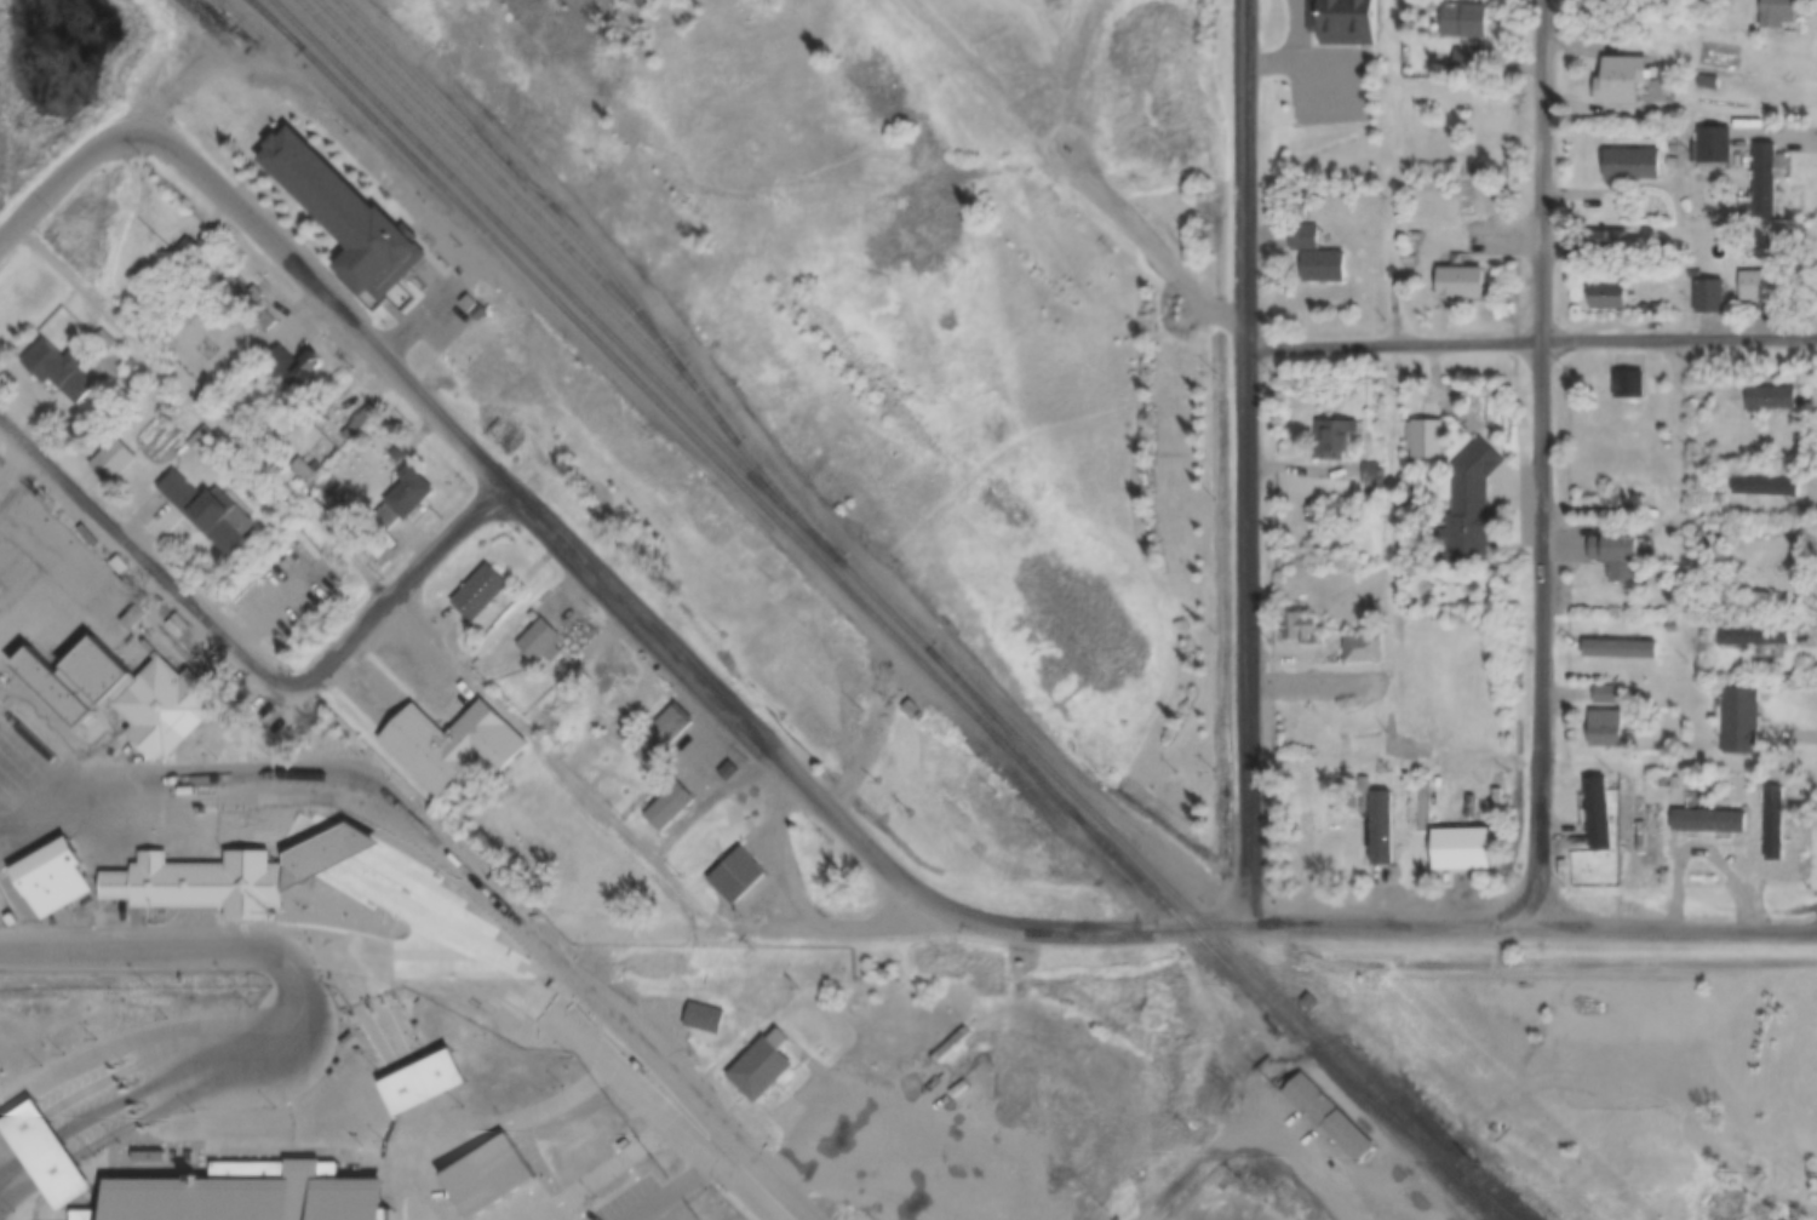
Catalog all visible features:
building: (1783, 7)
building: (1467, 12)
building: (1346, 15)
building: (58, 19)
building: (1478, 27)
building: (1474, 48)
building: (1623, 65)
building: (1480, 69)
building: (1712, 69)
building: (1632, 82)
building: (1716, 132)
building: (1721, 149)
building: (1635, 150)
building: (1769, 165)
building: (1637, 171)
railway: (512, 177)
building: (1300, 201)
building: (355, 214)
railway: (532, 218)
building: (1305, 224)
building: (1611, 228)
railway: (604, 244)
building: (190, 248)
building: (1324, 253)
building: (1461, 269)
building: (1762, 273)
building: (1612, 282)
building: (1712, 283)
building: (1469, 287)
building: (1769, 287)
building: (1715, 298)
building: (1615, 300)
building: (256, 304)
building: (474, 304)
building: (482, 313)
road: (1535, 337)
building: (71, 371)
building: (1630, 372)
building: (311, 373)
building: (1773, 388)
building: (1641, 389)
building: (1792, 403)
building: (373, 420)
building: (1339, 425)
building: (1428, 429)
building: (225, 441)
building: (1359, 442)
building: (1454, 442)
road: (263, 452)
building: (136, 456)
building: (323, 463)
road: (1254, 463)
road: (1538, 463)
building: (1766, 472)
building: (5, 483)
building: (1792, 485)
building: (431, 489)
building: (1474, 494)
building: (1509, 499)
building: (240, 505)
building: (1615, 544)
building: (1656, 548)
building: (99, 571)
building: (518, 580)
railway: (871, 609)
railway: (893, 611)
building: (1672, 617)
building: (1299, 618)
building: (1351, 622)
building: (1753, 625)
building: (583, 626)
building: (1793, 629)
road: (269, 630)
building: (1363, 636)
building: (1663, 637)
building: (1618, 638)
building: (1411, 641)
building: (137, 661)
building: (97, 674)
building: (1607, 682)
building: (1651, 688)
building: (210, 693)
building: (950, 695)
building: (1741, 709)
building: (1793, 709)
building: (1606, 716)
building: (1652, 721)
building: (699, 728)
railway: (1001, 731)
building: (492, 733)
road: (802, 740)
road: (270, 785)
building: (1423, 794)
building: (703, 796)
building: (1598, 802)
building: (1633, 807)
road: (50, 809)
building: (1707, 809)
building: (1775, 812)
building: (1742, 814)
building: (1807, 819)
building: (281, 825)
building: (1306, 829)
road: (265, 835)
building: (1460, 837)
building: (1496, 847)
building: (764, 869)
building: (81, 870)
building: (225, 877)
road: (489, 900)
road: (724, 926)
road: (208, 944)
building: (1042, 960)
road: (472, 996)
building: (1326, 1000)
road: (562, 1007)
building: (718, 1014)
road: (626, 1027)
road: (578, 1042)
building: (837, 1050)
road: (205, 1060)
building: (775, 1064)
building: (437, 1079)
road: (1408, 1081)
railway: (1381, 1109)
road: (434, 1113)
road: (865, 1116)
building: (1340, 1116)
road: (1245, 1138)
building: (44, 1149)
road: (21, 1156)
road: (735, 1167)
road: (611, 1168)
building: (491, 1178)
building: (251, 1193)
railway: (1490, 1203)
railway: (1481, 1218)

